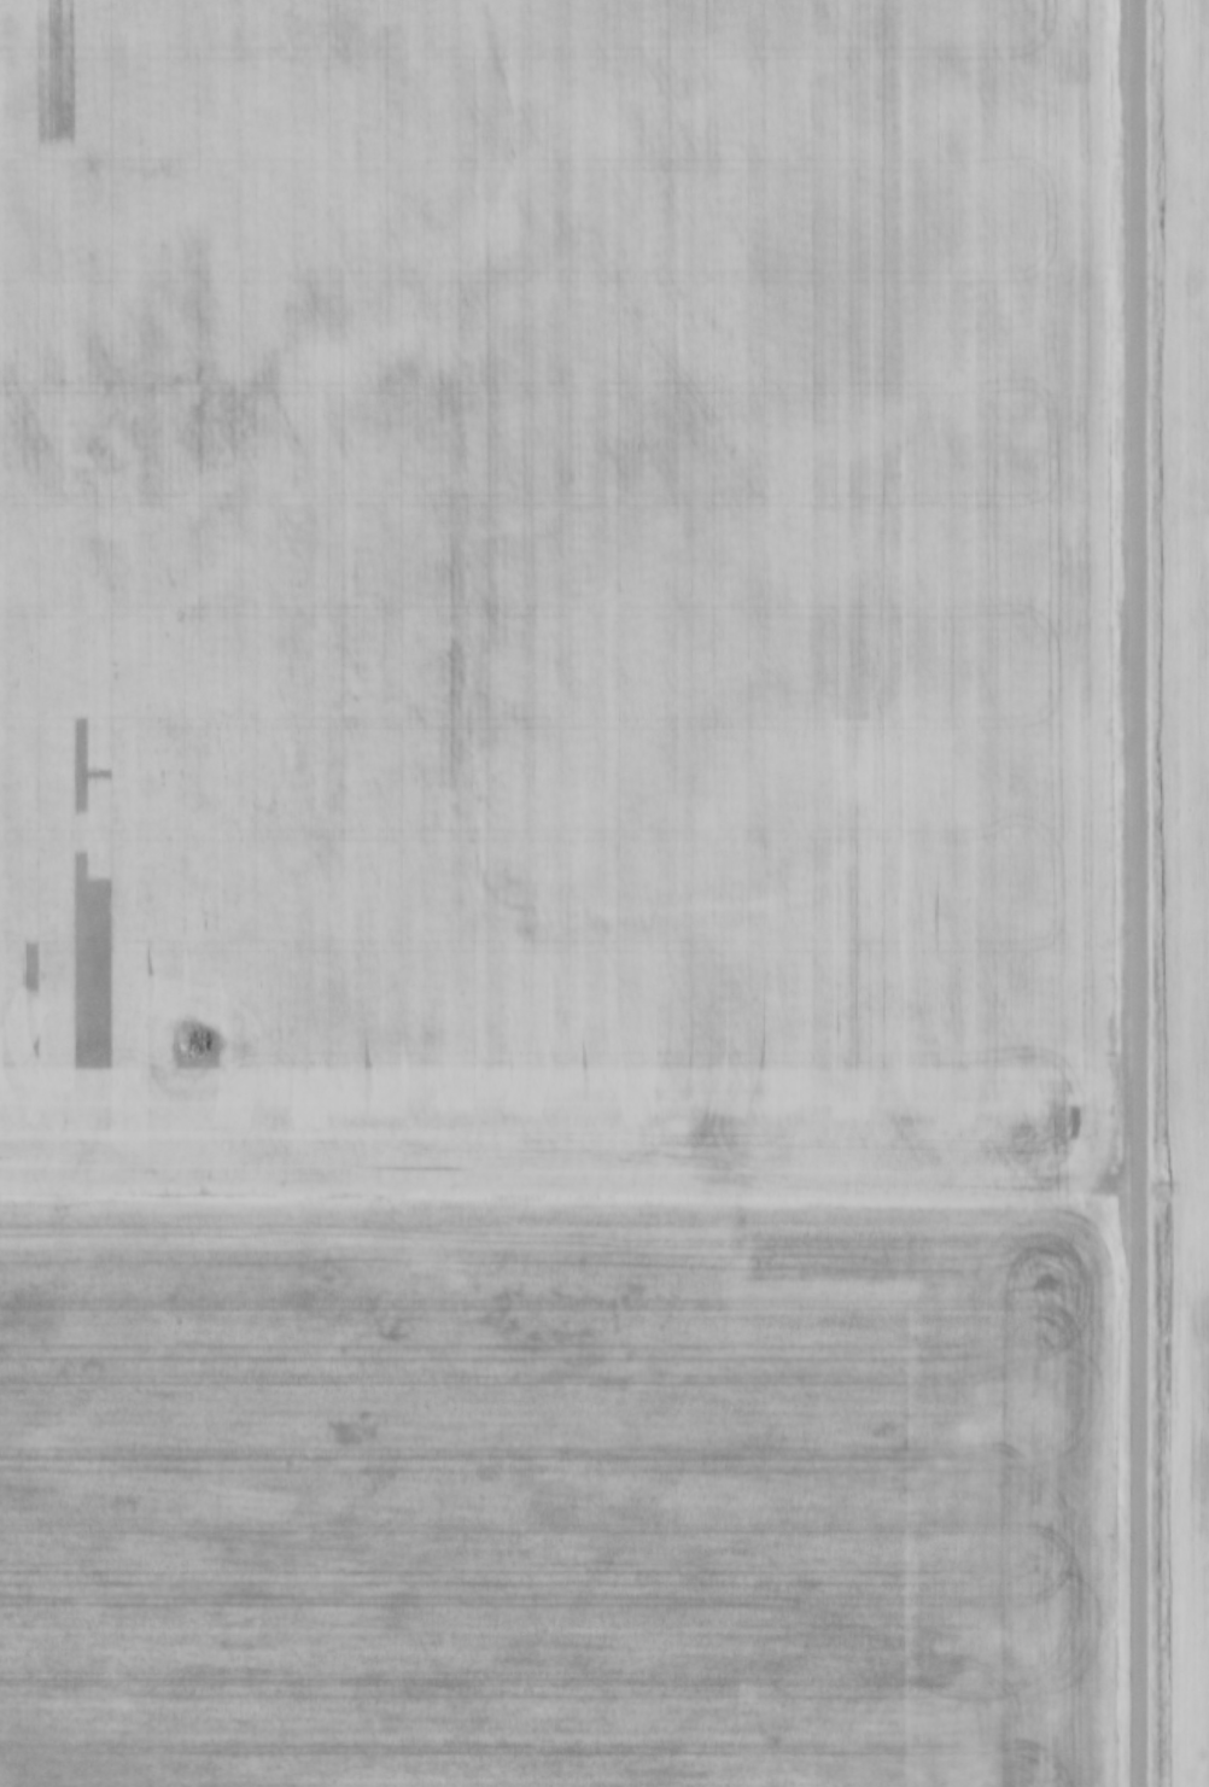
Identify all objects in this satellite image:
road: (1144, 893)

